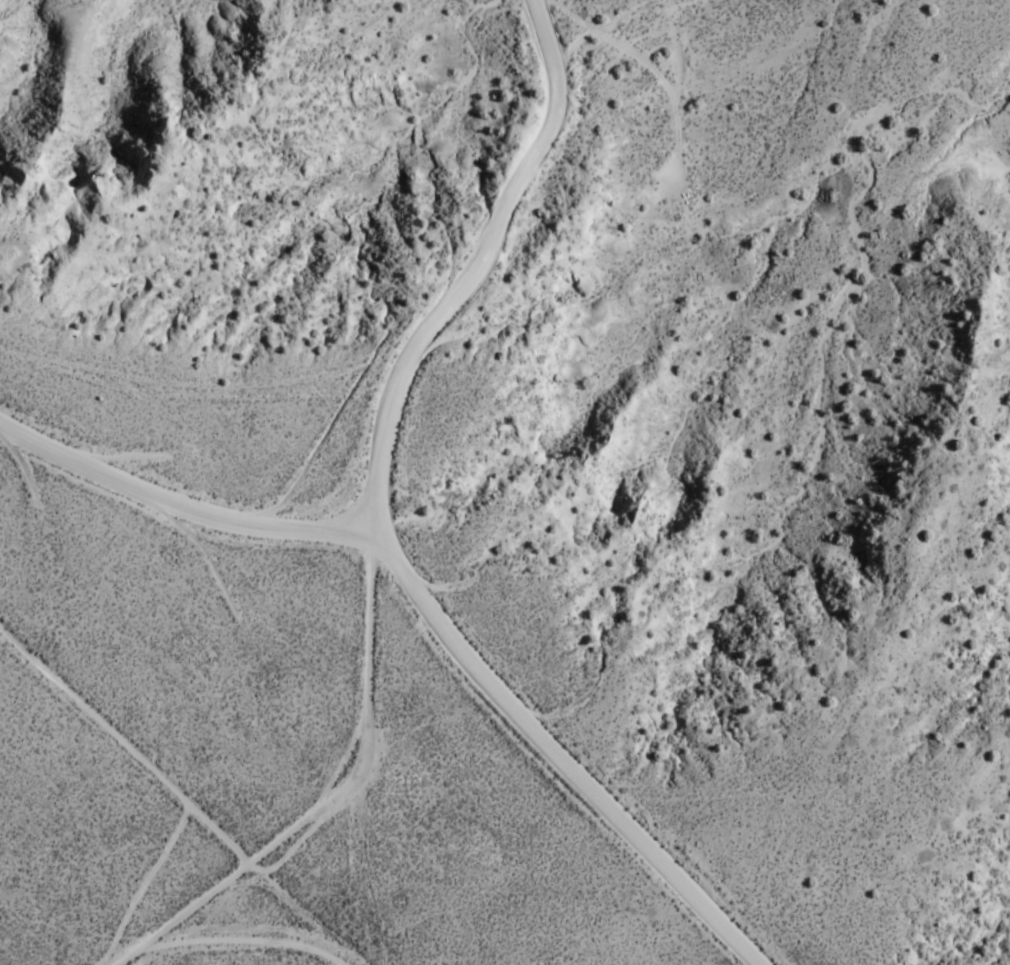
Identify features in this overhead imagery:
road: (177, 504)
road: (372, 527)

